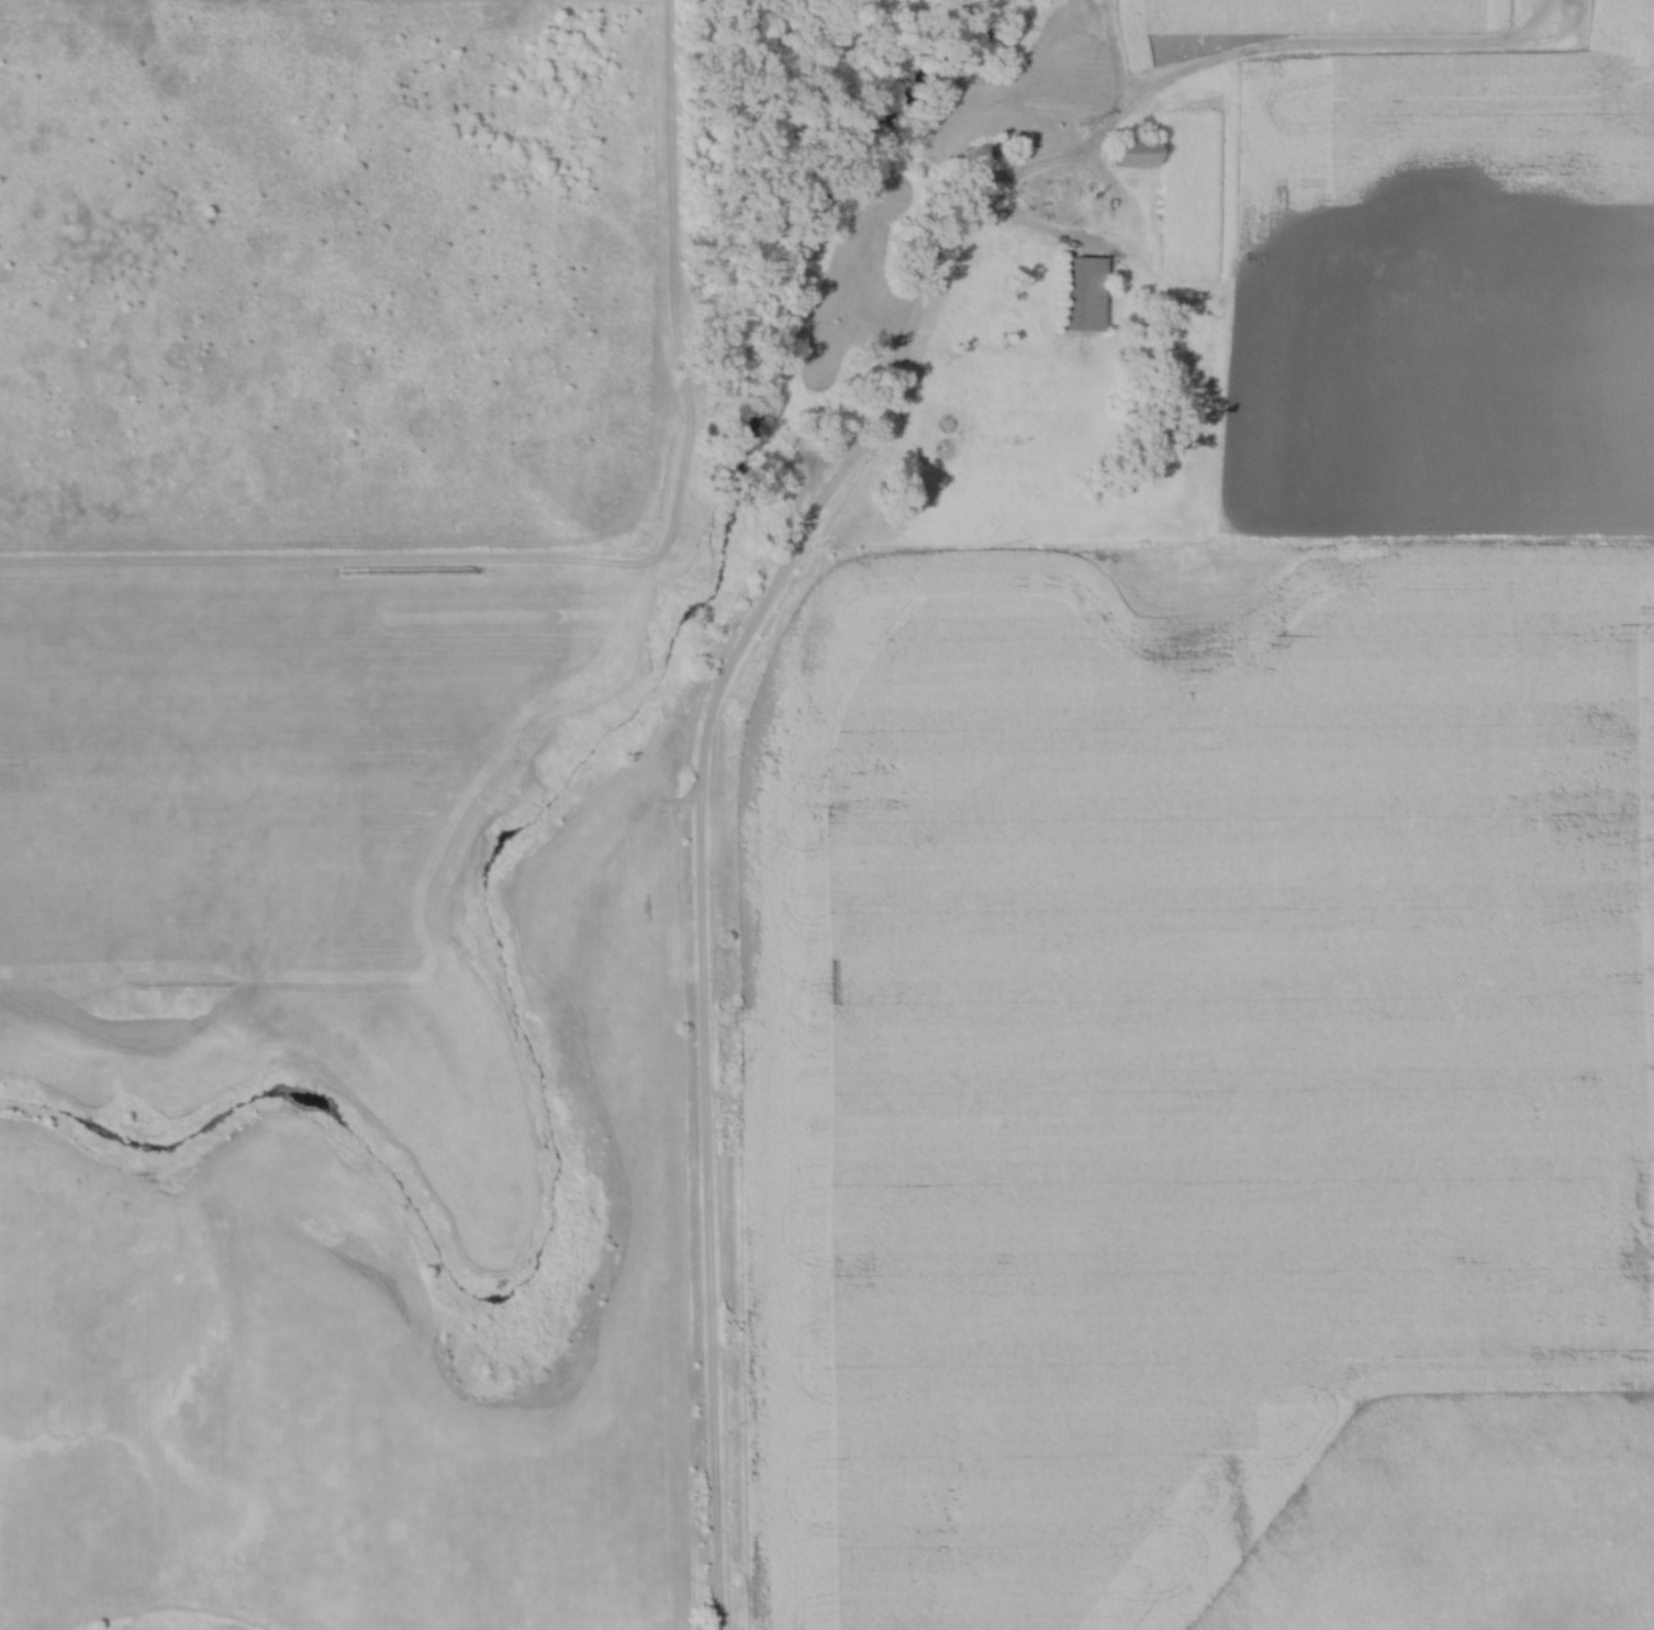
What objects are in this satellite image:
building: (1129, 153)
road: (668, 199)
building: (1084, 294)
road: (702, 849)
river: (484, 886)

